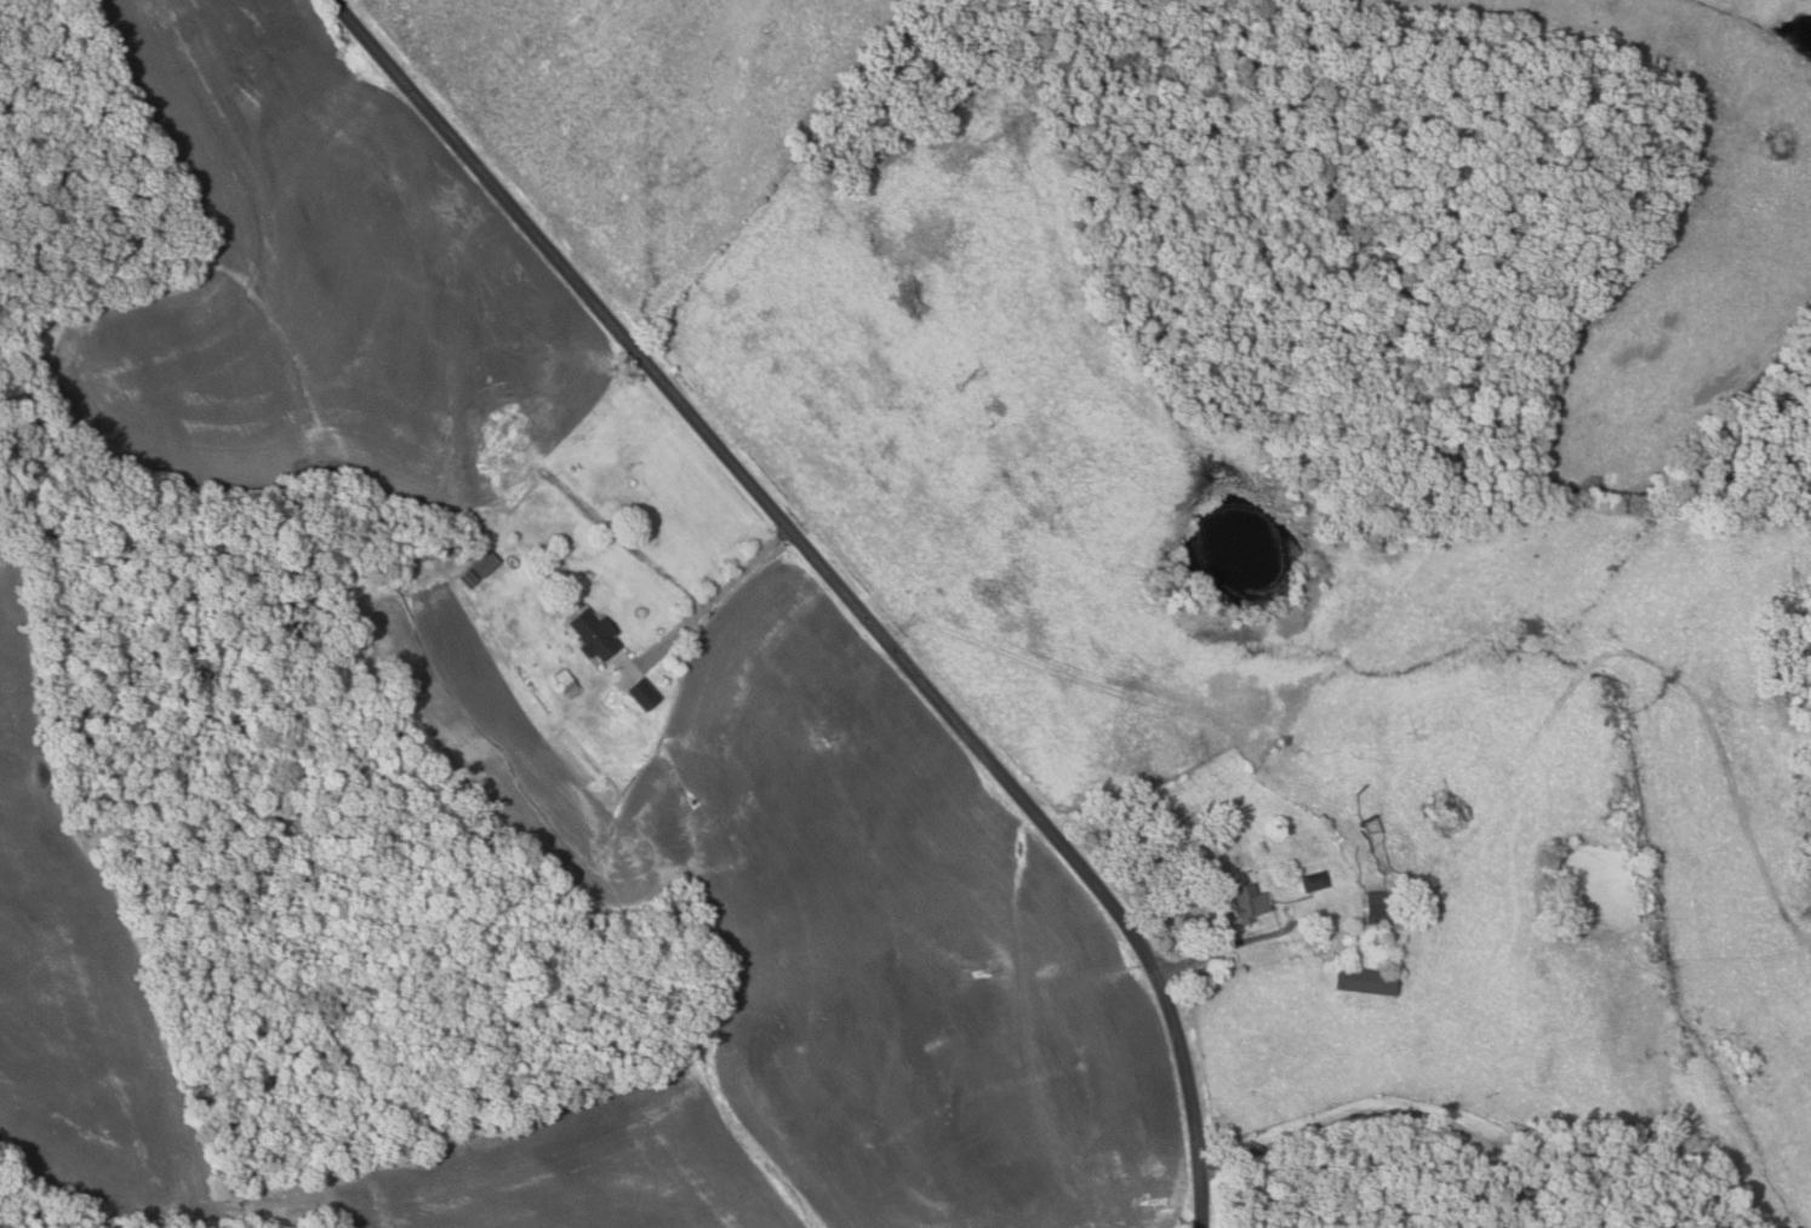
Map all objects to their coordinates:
crop: (324, 284)
building: (486, 562)
building: (469, 577)
road: (835, 581)
road: (725, 604)
building: (595, 634)
building: (569, 682)
building: (645, 693)
building: (1315, 881)
crop: (887, 887)
building: (1251, 902)
building: (1377, 907)
road: (1222, 944)
building: (1367, 981)
building: (1539, 1213)
building: (1589, 1226)

